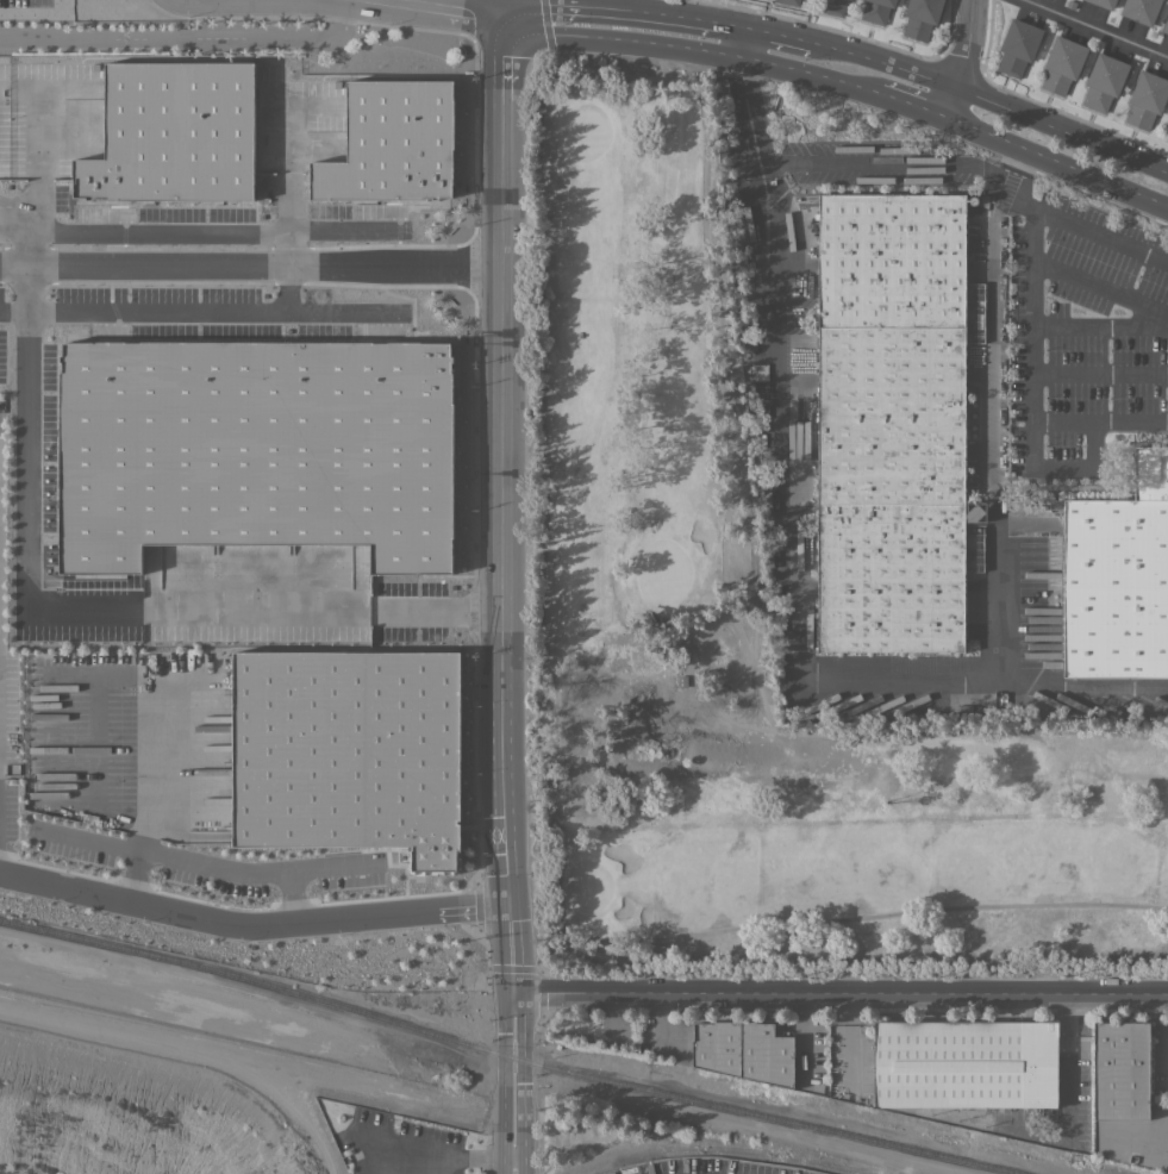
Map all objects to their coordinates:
building: (788, 1)
parking lot: (25, 2)
building: (1103, 4)
building: (832, 6)
road: (600, 7)
road: (439, 8)
road: (491, 8)
building: (876, 10)
building: (1139, 10)
building: (920, 18)
road: (725, 24)
building: (1166, 25)
road: (1093, 29)
road: (526, 31)
road: (769, 31)
road: (546, 32)
road: (190, 39)
road: (741, 43)
building: (1017, 46)
road: (725, 58)
road: (962, 61)
building: (1062, 64)
building: (1103, 81)
road: (983, 94)
building: (1145, 98)
road: (910, 107)
road: (538, 115)
building: (1167, 118)
building: (171, 132)
building: (1167, 136)
building: (389, 143)
road: (1051, 163)
road: (923, 167)
road: (201, 230)
road: (23, 245)
road: (286, 245)
road: (249, 261)
road: (286, 286)
road: (212, 311)
road: (1100, 325)
road: (1100, 375)
road: (1063, 420)
building: (891, 423)
road: (1033, 425)
building: (252, 449)
road: (499, 457)
road: (24, 486)
building: (1118, 577)
road: (254, 606)
road: (433, 607)
park: (750, 635)
road: (901, 673)
road: (701, 695)
road: (142, 713)
road: (950, 729)
road: (93, 741)
building: (348, 754)
road: (217, 863)
road: (862, 916)
road: (254, 918)
road: (517, 948)
road: (844, 998)
road: (662, 1022)
road: (801, 1041)
building: (700, 1045)
building: (751, 1051)
railway: (510, 1055)
building: (964, 1063)
building: (1120, 1070)
quarry: (156, 1073)
road: (519, 1086)
road: (1069, 1095)
road: (1139, 1137)
parking lot: (399, 1145)
road: (445, 1153)

